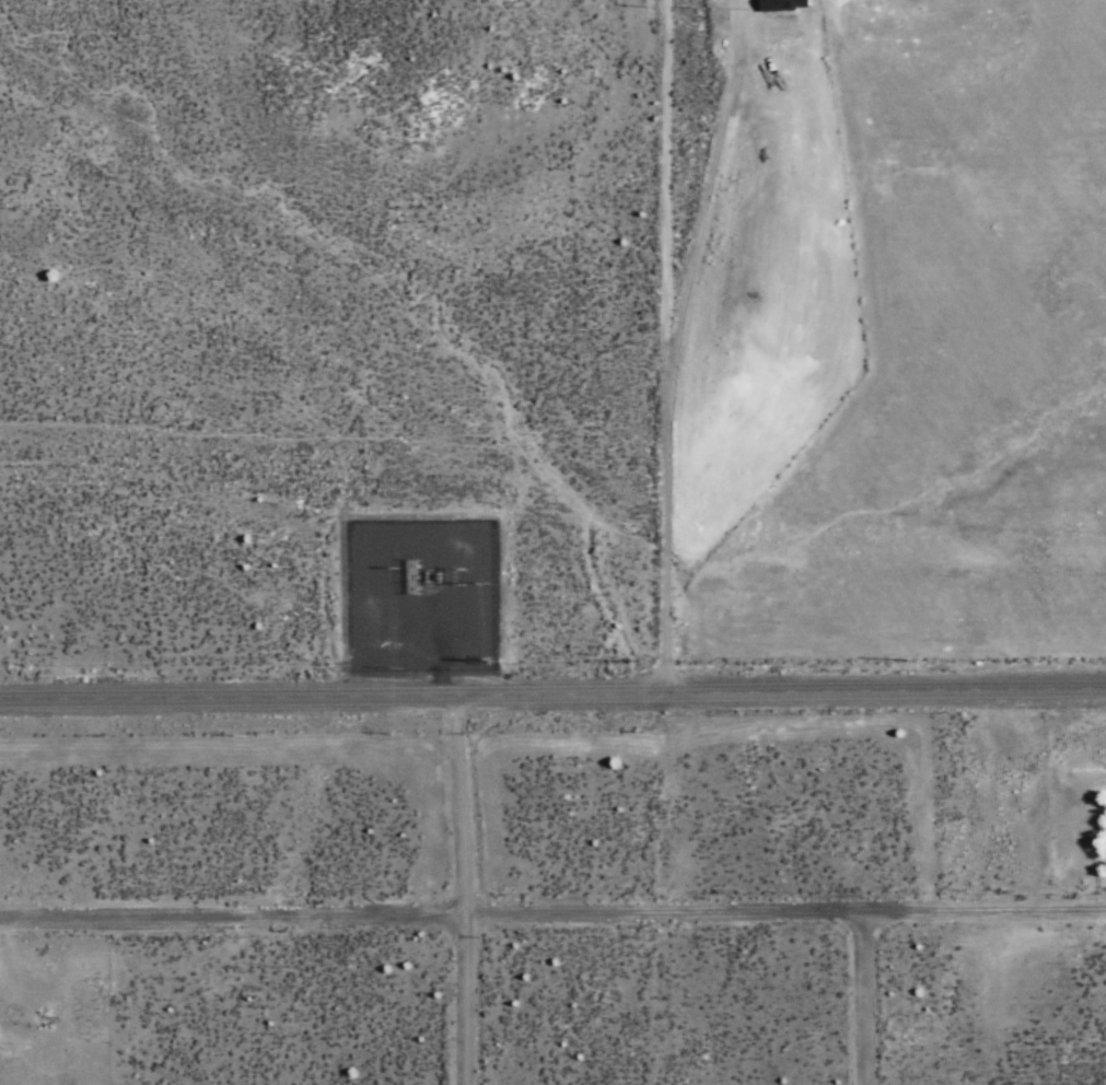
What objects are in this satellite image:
building: (783, 5)
road: (675, 372)
road: (552, 696)
road: (469, 890)
road: (552, 917)
road: (866, 1000)

